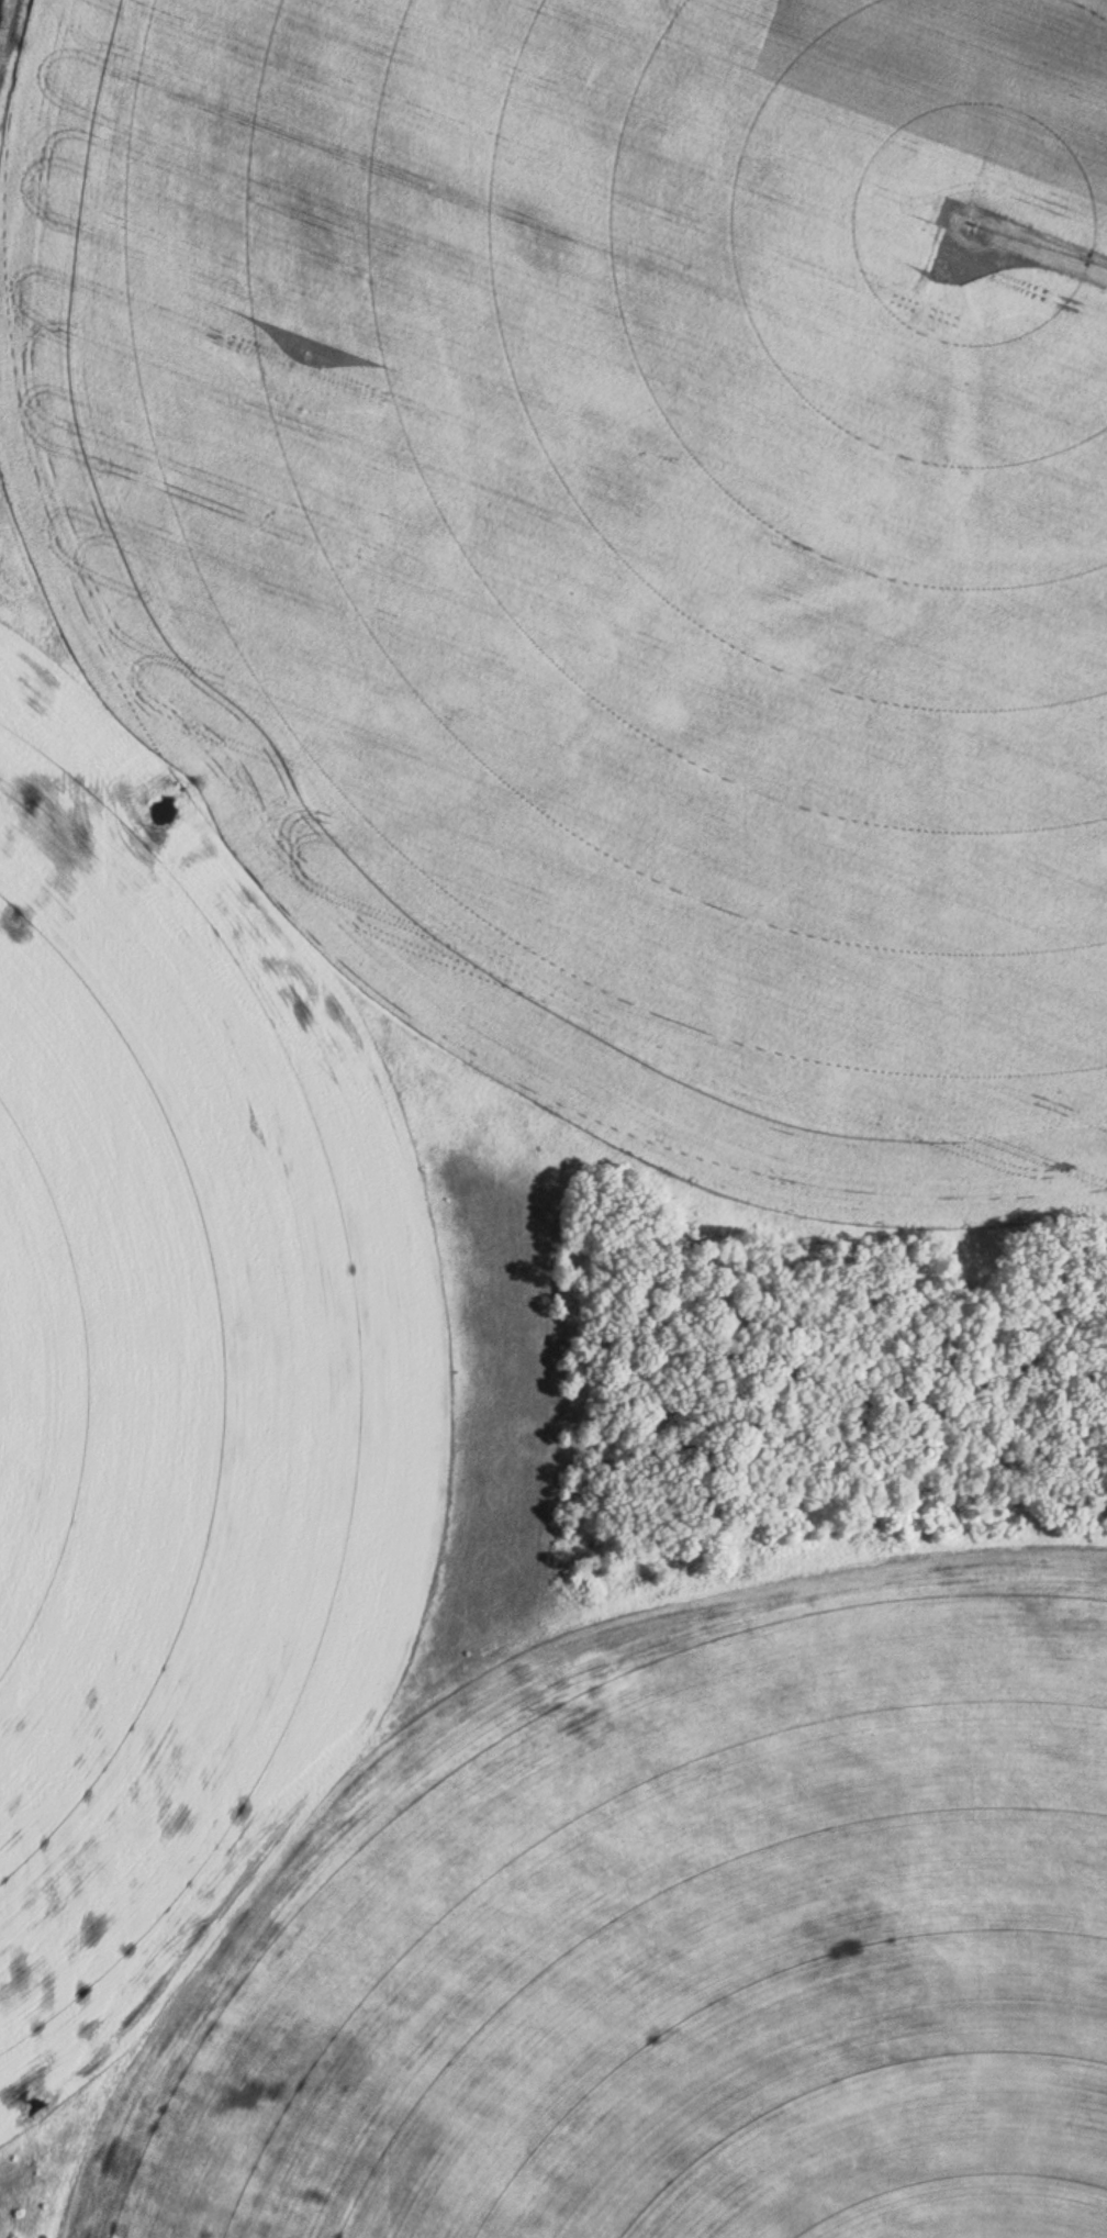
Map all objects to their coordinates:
wastewater plant: (553, 1118)
crop: (672, 1942)

